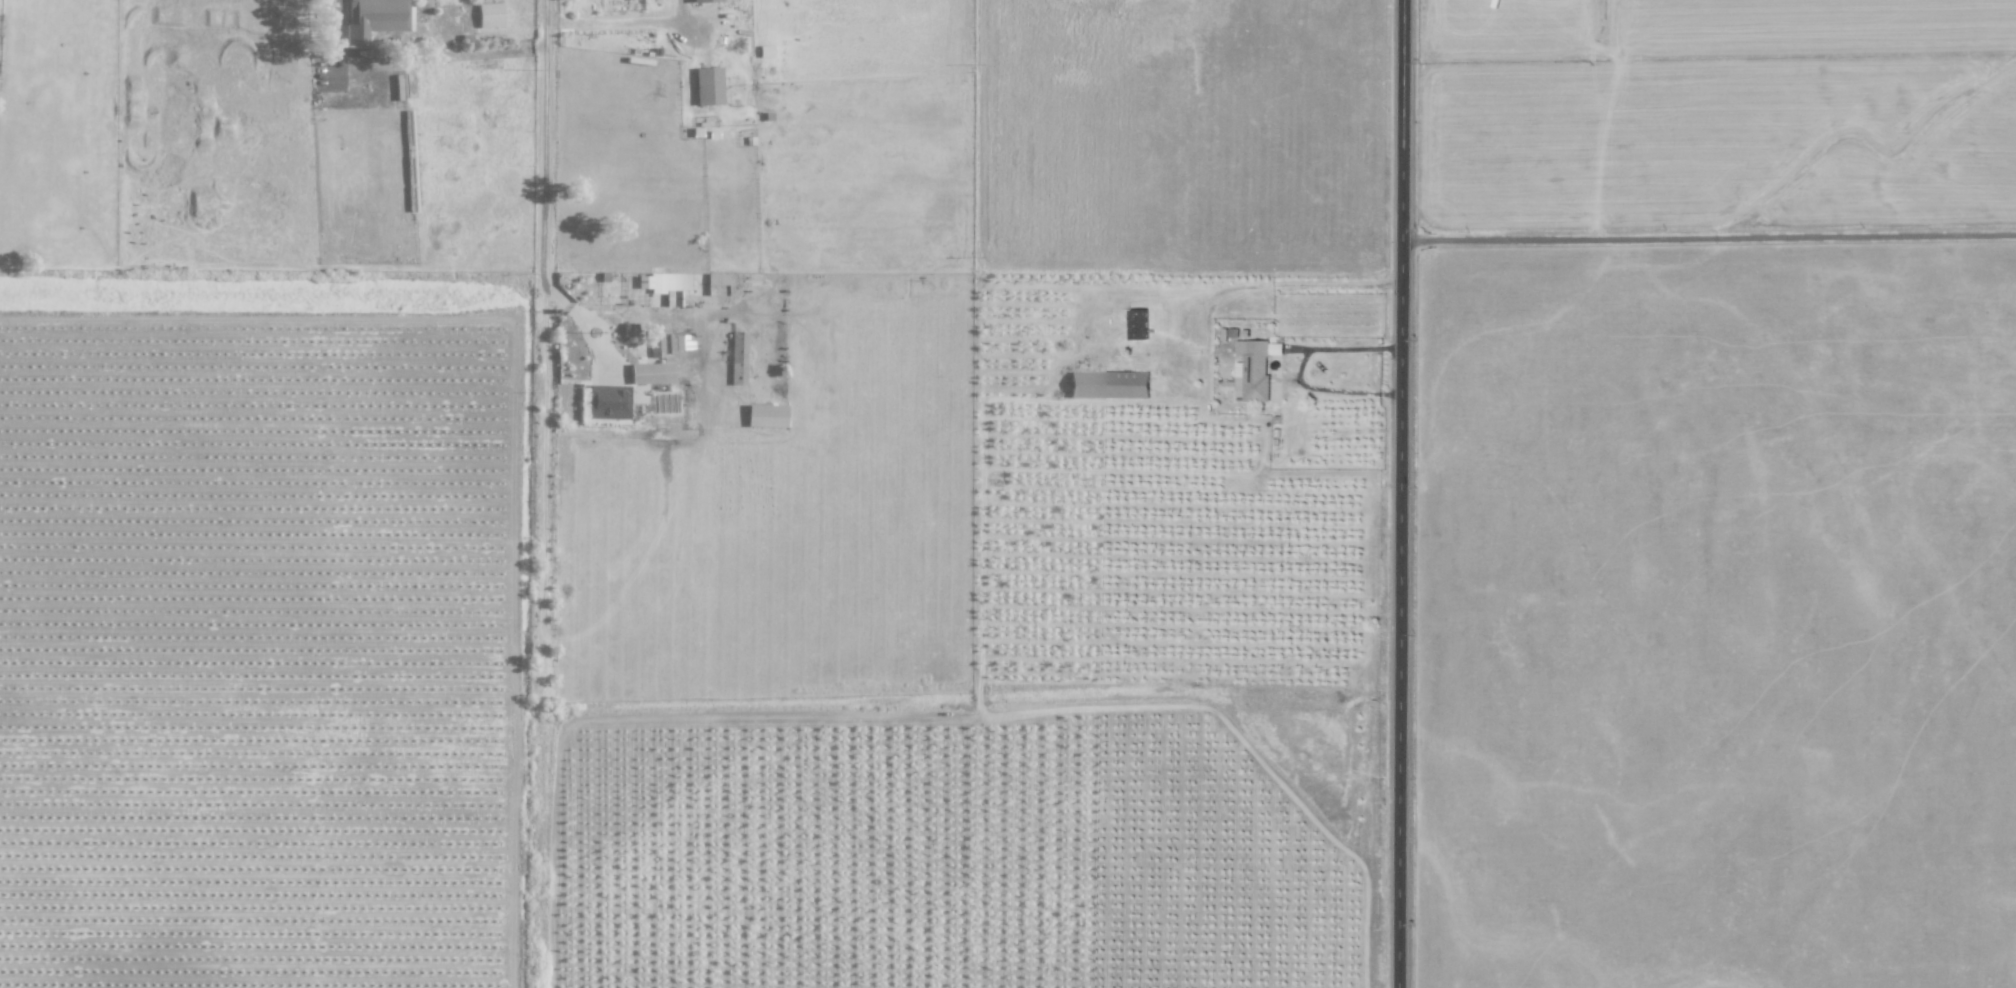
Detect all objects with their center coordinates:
building: (703, 0)
building: (489, 14)
building: (373, 18)
road: (666, 22)
road: (688, 22)
building: (765, 50)
road: (409, 56)
building: (707, 85)
road: (551, 128)
road: (1710, 236)
building: (716, 278)
building: (665, 285)
road: (1308, 287)
building: (1138, 324)
building: (681, 342)
building: (657, 344)
road: (1347, 347)
building: (737, 357)
building: (1252, 369)
building: (651, 373)
building: (1108, 384)
road: (1333, 389)
building: (608, 401)
building: (766, 415)
road: (1403, 493)

